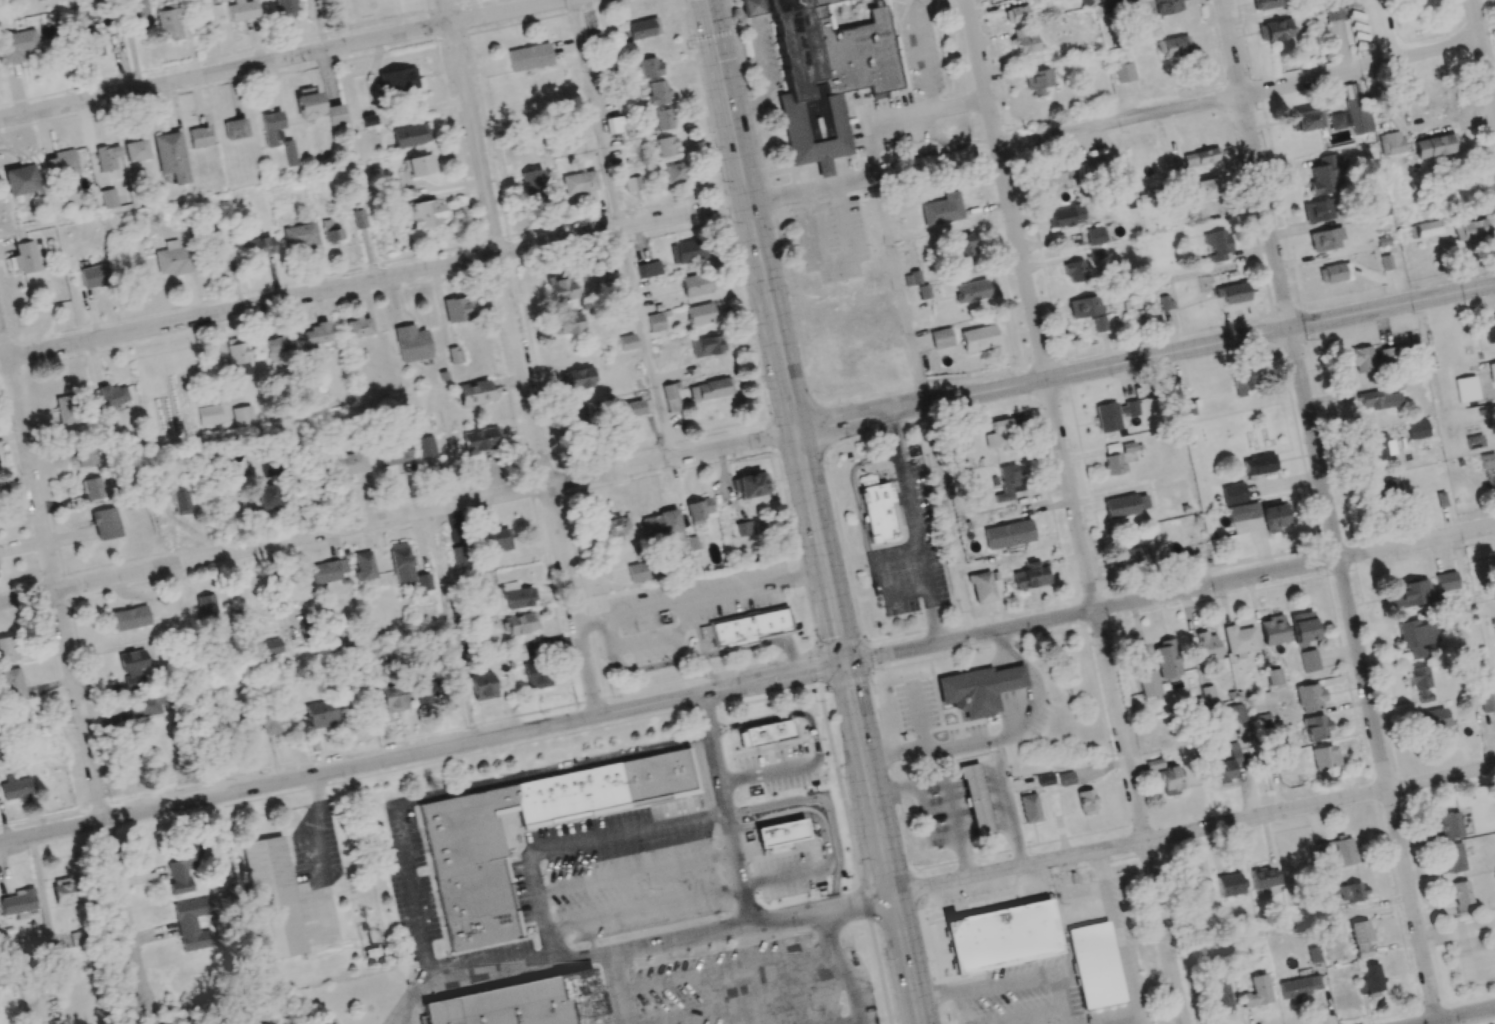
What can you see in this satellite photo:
building: (1105, 0)
building: (1265, 4)
building: (1167, 6)
building: (285, 8)
building: (242, 10)
building: (1333, 11)
building: (137, 12)
building: (1016, 14)
building: (168, 24)
building: (643, 28)
building: (1274, 30)
road: (712, 35)
building: (87, 37)
building: (1025, 40)
building: (18, 46)
road: (918, 46)
building: (1173, 46)
road: (1482, 53)
building: (529, 57)
road: (281, 58)
building: (649, 67)
building: (826, 68)
building: (1124, 72)
building: (397, 81)
building: (1038, 81)
building: (658, 93)
road: (726, 100)
building: (307, 102)
building: (1357, 112)
building: (334, 114)
road: (597, 114)
building: (664, 119)
building: (1307, 120)
building: (1338, 120)
road: (880, 121)
road: (1114, 123)
building: (613, 124)
building: (271, 127)
building: (235, 129)
building: (410, 135)
building: (199, 137)
building: (1390, 143)
building: (667, 146)
building: (1435, 146)
building: (135, 150)
building: (289, 152)
building: (171, 156)
building: (106, 157)
building: (1200, 157)
building: (61, 164)
road: (1255, 164)
building: (420, 165)
building: (674, 173)
building: (1323, 175)
building: (1060, 179)
building: (22, 180)
building: (579, 182)
building: (633, 183)
building: (532, 185)
road: (1006, 189)
building: (1203, 189)
building: (107, 198)
building: (1378, 207)
building: (942, 209)
building: (1205, 209)
building: (1318, 210)
building: (427, 214)
building: (1064, 217)
building: (358, 218)
building: (1424, 229)
building: (331, 230)
building: (1469, 230)
building: (299, 235)
building: (1094, 236)
building: (1325, 240)
building: (1217, 244)
building: (963, 246)
building: (260, 247)
building: (213, 249)
building: (687, 251)
building: (1096, 254)
building: (26, 257)
building: (172, 259)
building: (648, 269)
building: (1074, 271)
building: (1334, 273)
building: (94, 276)
road: (374, 280)
building: (696, 284)
building: (560, 288)
road: (900, 289)
building: (971, 291)
building: (1232, 293)
building: (1165, 302)
building: (458, 309)
building: (1088, 310)
building: (702, 314)
building: (655, 322)
building: (567, 324)
building: (359, 327)
building: (1489, 328)
building: (315, 336)
building: (941, 338)
building: (978, 338)
building: (626, 342)
building: (411, 343)
road: (646, 343)
building: (279, 346)
building: (707, 346)
building: (455, 355)
road: (521, 357)
road: (1146, 358)
building: (1367, 359)
building: (238, 362)
building: (898, 363)
building: (1491, 371)
building: (578, 378)
building: (1244, 383)
building: (1394, 385)
building: (710, 389)
building: (1466, 389)
building: (474, 393)
building: (112, 395)
building: (670, 398)
building: (1379, 399)
building: (67, 409)
building: (1491, 414)
building: (208, 415)
building: (241, 415)
building: (573, 415)
building: (626, 417)
building: (1107, 417)
building: (1416, 429)
road: (797, 431)
building: (999, 435)
building: (481, 440)
building: (1379, 446)
building: (391, 453)
building: (427, 453)
building: (88, 457)
building: (1487, 461)
building: (1114, 464)
building: (1259, 464)
building: (349, 465)
building: (1008, 482)
building: (751, 484)
building: (93, 488)
building: (1382, 490)
building: (1233, 493)
building: (266, 497)
building: (178, 498)
building: (1441, 499)
building: (1125, 505)
building: (698, 510)
building: (1243, 512)
building: (877, 513)
road: (398, 516)
building: (1272, 516)
road: (950, 520)
building: (106, 523)
building: (660, 524)
building: (611, 526)
building: (744, 528)
road: (913, 528)
building: (1008, 534)
building: (496, 539)
building: (1134, 557)
building: (457, 558)
building: (400, 562)
building: (363, 566)
building: (327, 570)
building: (636, 572)
building: (1031, 576)
building: (1446, 581)
building: (422, 582)
building: (981, 587)
road: (715, 594)
road: (1170, 594)
building: (1409, 594)
building: (516, 596)
building: (207, 607)
building: (129, 618)
road: (590, 620)
building: (521, 623)
building: (746, 627)
building: (1302, 628)
building: (1273, 630)
building: (1416, 637)
building: (1239, 640)
building: (271, 646)
building: (1206, 647)
building: (7, 650)
road: (692, 657)
building: (1166, 659)
building: (1308, 661)
building: (133, 663)
traffic signals: (846, 663)
road: (73, 671)
road: (872, 673)
building: (536, 676)
road: (1364, 676)
building: (1274, 677)
building: (12, 683)
building: (1148, 683)
building: (1420, 683)
building: (482, 686)
building: (978, 689)
building: (426, 692)
building: (1208, 695)
building: (1309, 697)
building: (393, 698)
road: (1114, 702)
building: (1487, 702)
building: (145, 706)
building: (1235, 714)
building: (321, 715)
building: (20, 717)
building: (1432, 719)
building: (273, 720)
road: (753, 722)
building: (1315, 727)
building: (236, 728)
building: (765, 734)
road: (999, 738)
road: (423, 753)
building: (1324, 757)
building: (130, 763)
building: (1154, 764)
building: (1226, 765)
road: (793, 766)
building: (1065, 779)
building: (1045, 780)
building: (1171, 780)
building: (17, 788)
road: (952, 790)
road: (436, 795)
building: (974, 800)
building: (1086, 802)
building: (1029, 808)
road: (724, 809)
road: (1009, 817)
road: (676, 822)
road: (313, 825)
building: (1449, 825)
road: (1194, 830)
building: (780, 833)
road: (824, 839)
road: (883, 843)
building: (1344, 850)
building: (1322, 851)
building: (1454, 858)
building: (184, 868)
building: (472, 882)
building: (1229, 884)
building: (63, 892)
building: (1349, 892)
building: (1460, 892)
building: (1199, 894)
building: (273, 897)
building: (18, 902)
building: (192, 924)
road: (1457, 930)
building: (1001, 936)
road: (1119, 937)
building: (77, 938)
building: (1361, 938)
road: (662, 942)
road: (783, 956)
building: (1094, 965)
road: (842, 966)
road: (687, 977)
road: (1011, 977)
building: (1370, 978)
building: (1297, 987)
building: (1257, 991)
building: (1220, 998)
building: (524, 1003)
road: (747, 1003)
road: (622, 1007)
road: (1457, 1016)
road: (1035, 1017)
road: (849, 1022)

